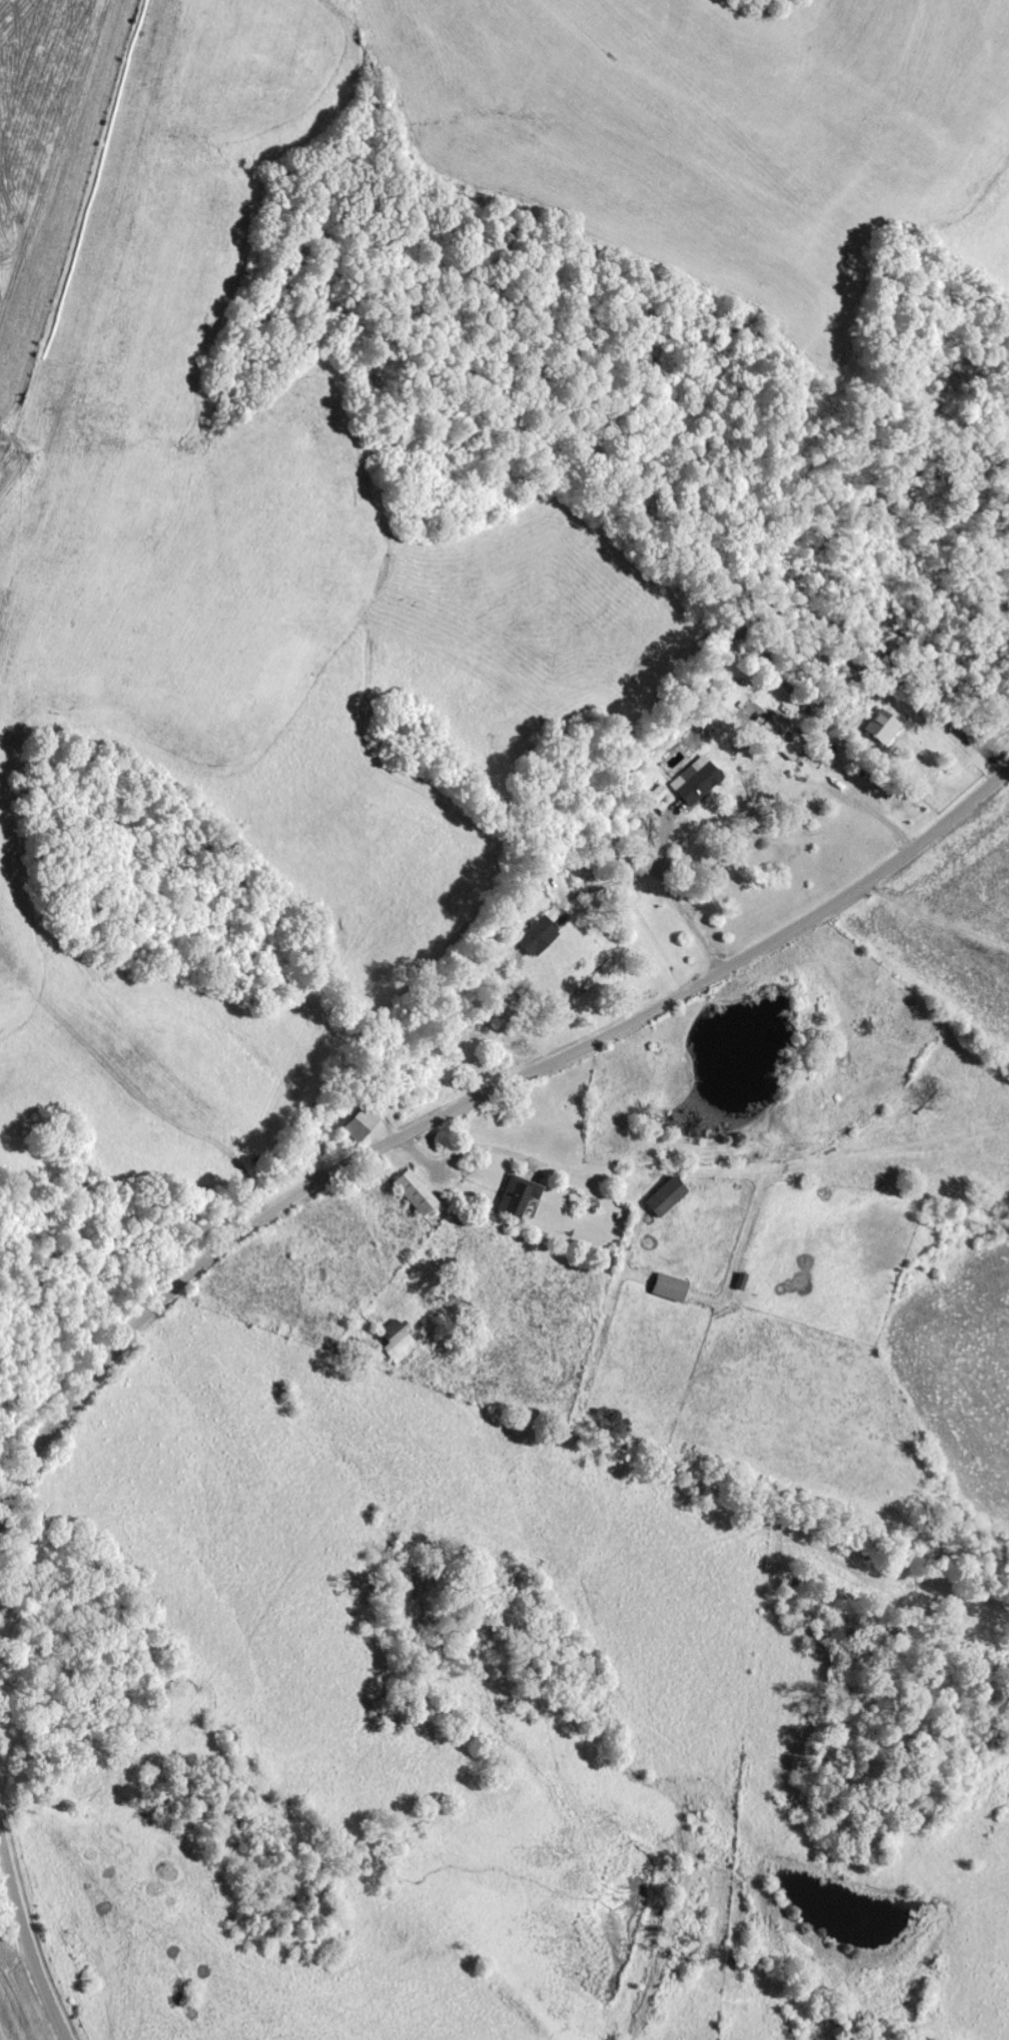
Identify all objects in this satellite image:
building: (884, 729)
building: (783, 738)
building: (698, 784)
building: (661, 793)
building: (539, 937)
road: (467, 1105)
building: (366, 1124)
building: (418, 1194)
building: (521, 1196)
building: (668, 1198)
building: (743, 1282)
building: (672, 1289)
road: (27, 1937)

